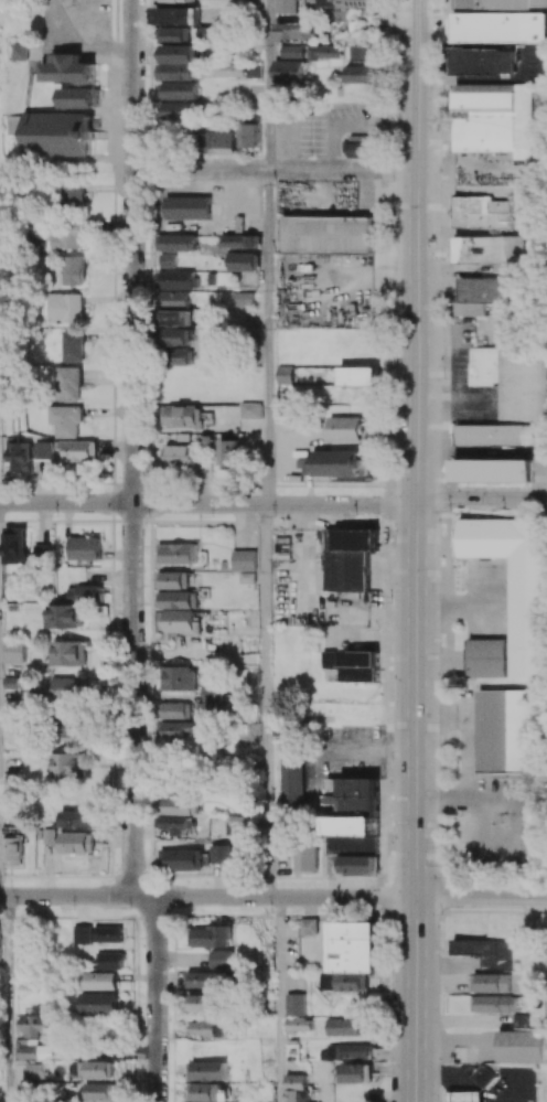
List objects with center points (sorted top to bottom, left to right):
building: (178, 2)
building: (501, 3)
building: (285, 7)
building: (176, 15)
building: (498, 28)
building: (293, 31)
building: (175, 33)
building: (210, 33)
building: (17, 51)
building: (291, 51)
building: (324, 52)
building: (364, 53)
building: (483, 61)
building: (178, 63)
building: (67, 68)
building: (229, 69)
building: (288, 69)
building: (362, 75)
road: (267, 84)
street lamp: (440, 87)
building: (178, 90)
building: (78, 98)
building: (492, 118)
building: (56, 135)
building: (250, 135)
building: (361, 147)
road: (275, 169)
street lamp: (393, 180)
building: (72, 195)
building: (186, 207)
building: (480, 213)
building: (328, 234)
building: (63, 236)
building: (240, 240)
building: (176, 243)
building: (487, 250)
street lamp: (439, 259)
building: (168, 260)
building: (243, 261)
building: (69, 270)
building: (176, 279)
building: (476, 295)
building: (174, 298)
building: (243, 299)
building: (63, 308)
building: (180, 317)
building: (178, 336)
road: (267, 336)
building: (71, 346)
building: (179, 356)
building: (358, 376)
street lamp: (440, 378)
building: (510, 381)
building: (67, 384)
building: (250, 410)
building: (183, 417)
building: (65, 420)
building: (345, 428)
building: (492, 435)
road: (132, 448)
road: (417, 449)
building: (78, 450)
building: (28, 454)
building: (230, 454)
building: (179, 456)
building: (333, 463)
building: (491, 470)
road: (481, 497)
road: (208, 504)
street lamp: (450, 510)
building: (13, 545)
building: (84, 548)
building: (41, 553)
building: (178, 553)
building: (347, 558)
building: (244, 560)
building: (175, 579)
building: (515, 584)
building: (83, 592)
street lamp: (390, 596)
building: (180, 600)
building: (64, 617)
building: (183, 622)
building: (14, 652)
street lamp: (440, 652)
building: (67, 653)
building: (485, 657)
building: (353, 664)
building: (179, 678)
building: (66, 688)
building: (211, 697)
road: (265, 700)
building: (174, 709)
building: (67, 727)
building: (176, 730)
building: (508, 730)
road: (468, 732)
street lamp: (389, 762)
building: (66, 764)
building: (289, 777)
building: (331, 798)
building: (179, 805)
road: (536, 816)
building: (77, 819)
building: (173, 824)
building: (235, 825)
building: (355, 826)
building: (49, 835)
building: (78, 843)
building: (11, 852)
building: (221, 854)
building: (305, 858)
building: (181, 859)
street lamp: (439, 876)
road: (207, 897)
road: (482, 899)
building: (308, 927)
building: (82, 934)
building: (108, 934)
building: (211, 937)
building: (22, 941)
building: (486, 951)
building: (350, 955)
building: (107, 960)
building: (224, 960)
building: (205, 980)
building: (99, 981)
building: (491, 983)
street lamp: (388, 993)
road: (7, 999)
road: (157, 999)
road: (279, 999)
road: (416, 1001)
building: (204, 1003)
building: (98, 1004)
building: (494, 1004)
building: (296, 1005)
building: (521, 1020)
building: (298, 1025)
building: (37, 1026)
building: (344, 1027)
building: (207, 1029)
building: (518, 1046)
building: (345, 1050)
building: (25, 1052)
building: (76, 1069)
building: (99, 1069)
building: (206, 1070)
building: (34, 1071)
building: (354, 1073)
building: (483, 1077)
building: (294, 1088)
building: (100, 1092)
building: (208, 1093)
building: (466, 1096)

